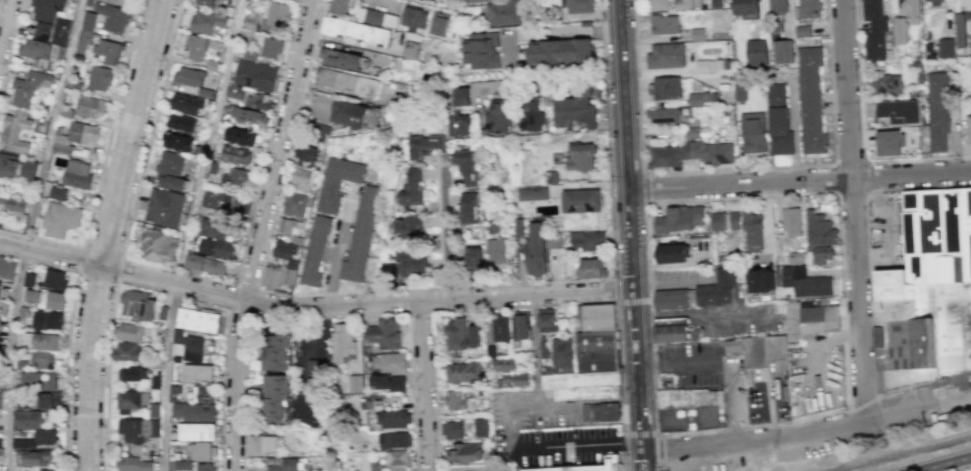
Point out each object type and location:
building: (414, 0)
building: (433, 0)
building: (697, 0)
building: (476, 1)
building: (118, 2)
building: (213, 2)
building: (932, 2)
building: (685, 4)
building: (719, 4)
building: (660, 5)
building: (909, 5)
building: (966, 5)
building: (342, 6)
building: (579, 6)
building: (955, 6)
building: (779, 7)
building: (747, 8)
building: (810, 10)
building: (507, 12)
building: (46, 16)
building: (278, 16)
building: (113, 18)
building: (377, 18)
building: (414, 18)
building: (89, 21)
building: (208, 22)
building: (249, 22)
road: (5, 23)
building: (439, 24)
building: (666, 25)
building: (777, 28)
building: (873, 30)
building: (896, 30)
building: (804, 31)
building: (958, 31)
building: (358, 32)
building: (700, 34)
building: (84, 42)
road: (10, 47)
building: (201, 47)
building: (272, 48)
building: (408, 49)
building: (945, 49)
road: (363, 50)
building: (479, 50)
building: (784, 51)
building: (109, 52)
building: (758, 52)
building: (43, 53)
building: (560, 53)
building: (666, 56)
building: (340, 59)
building: (705, 65)
building: (917, 71)
building: (256, 76)
building: (189, 77)
building: (101, 78)
road: (62, 79)
building: (346, 83)
building: (886, 84)
building: (582, 87)
building: (30, 88)
building: (667, 88)
building: (235, 92)
building: (740, 92)
building: (916, 94)
building: (458, 96)
building: (715, 96)
building: (699, 98)
building: (811, 99)
building: (259, 102)
building: (187, 104)
building: (90, 107)
building: (937, 111)
building: (572, 112)
building: (898, 112)
building: (353, 113)
building: (251, 116)
building: (664, 116)
building: (532, 117)
building: (497, 121)
building: (780, 121)
building: (182, 123)
building: (41, 125)
building: (459, 125)
building: (968, 129)
building: (753, 131)
building: (15, 132)
road: (131, 132)
building: (698, 132)
building: (83, 133)
building: (320, 133)
building: (241, 135)
road: (861, 135)
road: (209, 140)
building: (178, 141)
road: (289, 143)
building: (886, 144)
building: (423, 145)
building: (63, 146)
building: (236, 154)
building: (307, 154)
building: (691, 154)
building: (580, 157)
building: (9, 165)
road: (101, 166)
building: (467, 166)
building: (215, 168)
road: (733, 169)
building: (30, 170)
building: (171, 170)
building: (78, 175)
building: (235, 177)
building: (552, 177)
building: (302, 180)
building: (337, 182)
road: (800, 182)
road: (919, 187)
building: (412, 188)
road: (642, 188)
road: (828, 192)
road: (866, 192)
building: (58, 193)
building: (532, 194)
building: (217, 200)
building: (582, 200)
road: (35, 202)
building: (13, 204)
building: (295, 204)
building: (241, 205)
building: (164, 207)
building: (468, 210)
road: (855, 210)
building: (61, 219)
building: (678, 220)
building: (791, 220)
road: (630, 222)
building: (726, 222)
building: (518, 226)
road: (887, 226)
building: (408, 227)
building: (491, 227)
building: (214, 228)
building: (291, 228)
building: (819, 229)
building: (753, 231)
parking lot: (885, 231)
road: (259, 233)
building: (361, 236)
road: (445, 236)
building: (592, 242)
building: (157, 245)
road: (338, 247)
building: (537, 248)
building: (218, 249)
building: (316, 249)
building: (284, 250)
building: (497, 251)
road: (51, 253)
building: (670, 253)
building: (822, 255)
building: (796, 257)
building: (469, 261)
building: (407, 263)
building: (206, 264)
road: (614, 264)
building: (7, 268)
building: (590, 268)
road: (190, 273)
building: (278, 276)
parking lot: (682, 278)
building: (30, 279)
building: (56, 279)
road: (117, 279)
building: (758, 280)
building: (805, 281)
building: (0, 282)
road: (672, 285)
building: (0, 286)
road: (161, 290)
road: (274, 291)
road: (350, 292)
road: (327, 293)
building: (697, 293)
building: (926, 293)
road: (305, 294)
road: (869, 294)
building: (34, 295)
road: (621, 300)
building: (56, 301)
road: (576, 303)
road: (365, 304)
building: (138, 305)
road: (230, 306)
building: (5, 309)
road: (419, 311)
building: (25, 312)
building: (163, 312)
road: (317, 312)
road: (702, 313)
building: (546, 317)
building: (594, 318)
building: (200, 320)
building: (51, 321)
building: (812, 321)
parking lot: (745, 322)
building: (1, 325)
building: (522, 328)
building: (502, 329)
road: (68, 330)
building: (674, 330)
building: (131, 333)
building: (385, 334)
building: (456, 334)
road: (431, 337)
building: (0, 339)
building: (343, 339)
building: (39, 342)
building: (191, 345)
road: (409, 345)
road: (537, 345)
building: (733, 346)
building: (544, 349)
building: (763, 350)
building: (127, 351)
building: (490, 351)
building: (596, 351)
building: (277, 352)
building: (563, 353)
road: (10, 358)
building: (42, 359)
road: (298, 361)
building: (392, 361)
road: (877, 363)
road: (722, 364)
building: (22, 365)
building: (502, 366)
road: (89, 367)
building: (550, 369)
building: (200, 372)
building: (465, 373)
parking lot: (706, 373)
building: (134, 374)
road: (168, 376)
building: (516, 380)
building: (40, 381)
building: (312, 381)
building: (156, 382)
building: (389, 382)
building: (353, 383)
building: (580, 385)
road: (424, 386)
road: (621, 386)
road: (243, 390)
road: (878, 392)
building: (204, 393)
road: (876, 395)
building: (275, 398)
building: (0, 400)
building: (50, 400)
building: (132, 400)
building: (456, 400)
road: (954, 400)
road: (861, 401)
building: (375, 402)
road: (601, 402)
parking lot: (766, 402)
building: (24, 404)
road: (769, 407)
building: (154, 409)
building: (687, 410)
building: (196, 411)
road: (547, 411)
building: (605, 412)
road: (901, 413)
building: (29, 419)
building: (394, 419)
building: (482, 428)
building: (139, 430)
building: (453, 430)
building: (198, 431)
parking lot: (547, 434)
road: (640, 434)
building: (38, 440)
building: (394, 441)
building: (1, 443)
road: (755, 443)
building: (262, 445)
road: (644, 447)
road: (657, 447)
parking lot: (807, 447)
road: (545, 448)
building: (203, 451)
building: (465, 452)
railway: (899, 452)
building: (2, 455)
building: (32, 457)
building: (398, 457)
road: (573, 458)
road: (645, 460)
road: (942, 463)
building: (134, 464)
building: (184, 465)
building: (286, 465)
building: (604, 465)
road: (658, 465)
building: (205, 467)
road: (959, 468)
building: (545, 469)
building: (46, 470)

